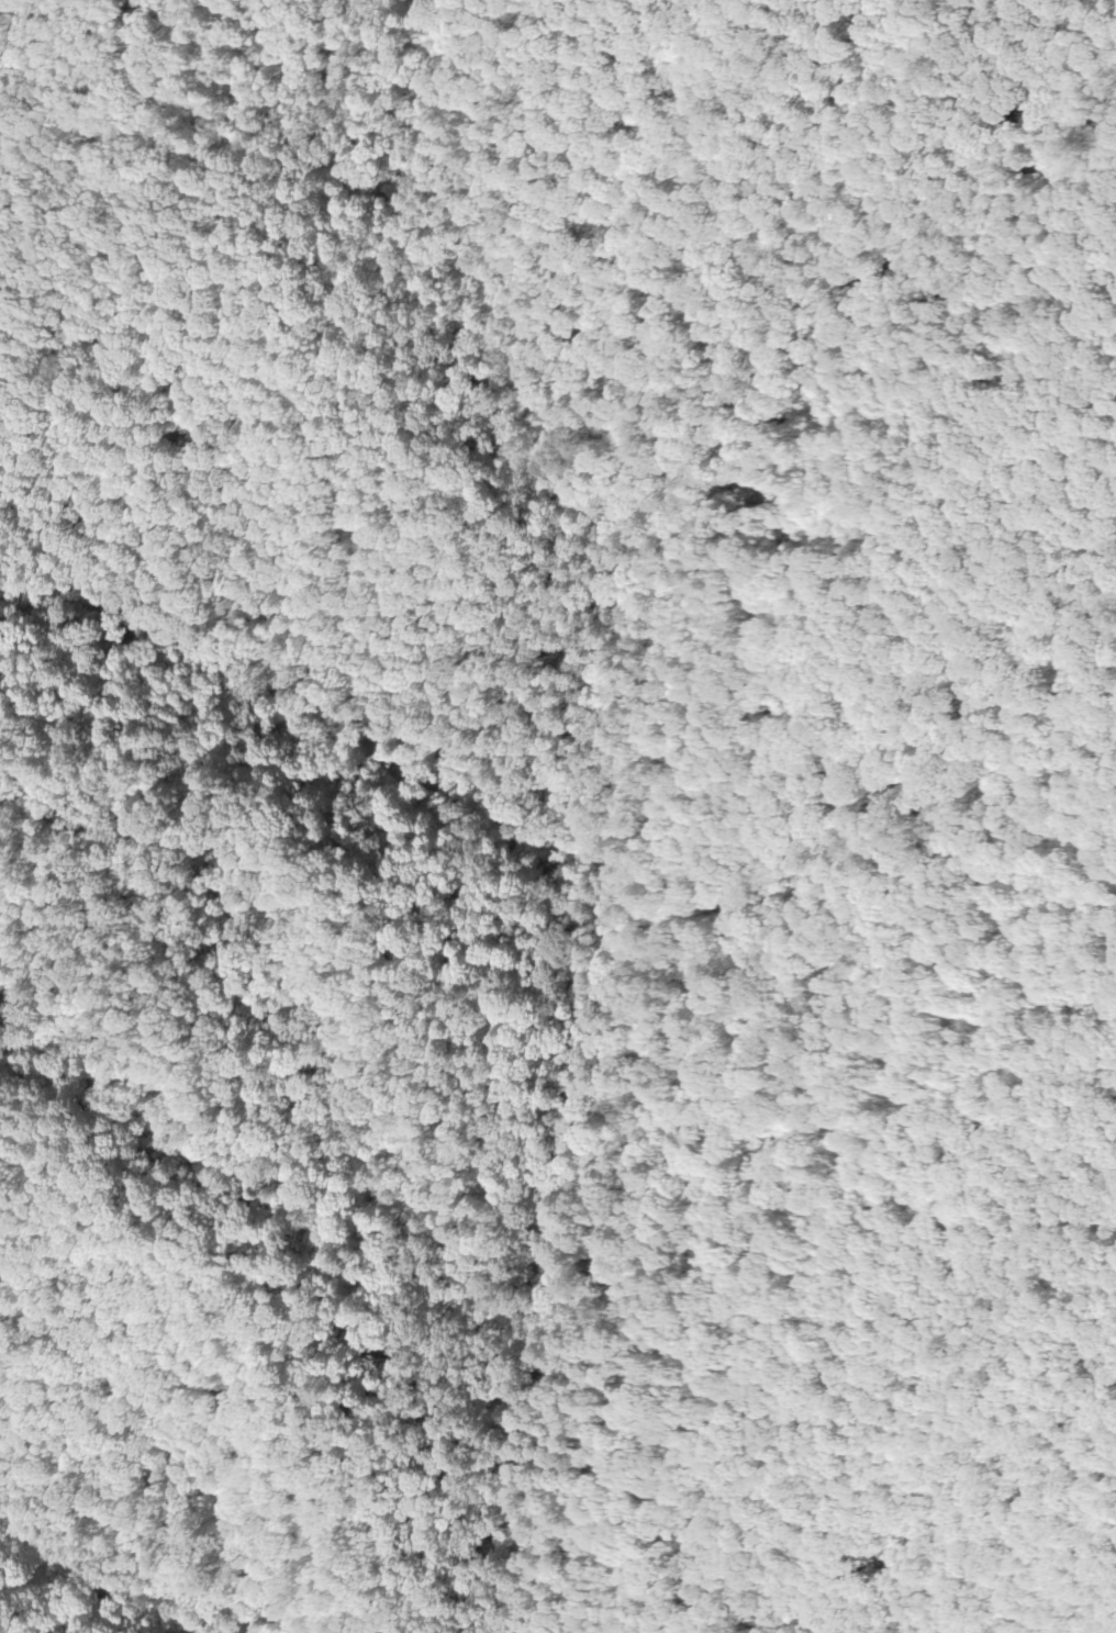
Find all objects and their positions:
road: (175, 980)

